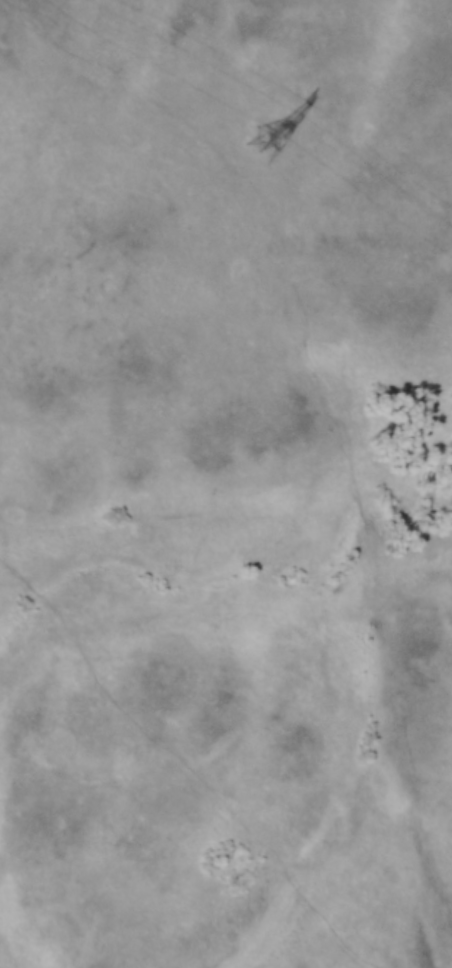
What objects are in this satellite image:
power tower: (253, 136)

